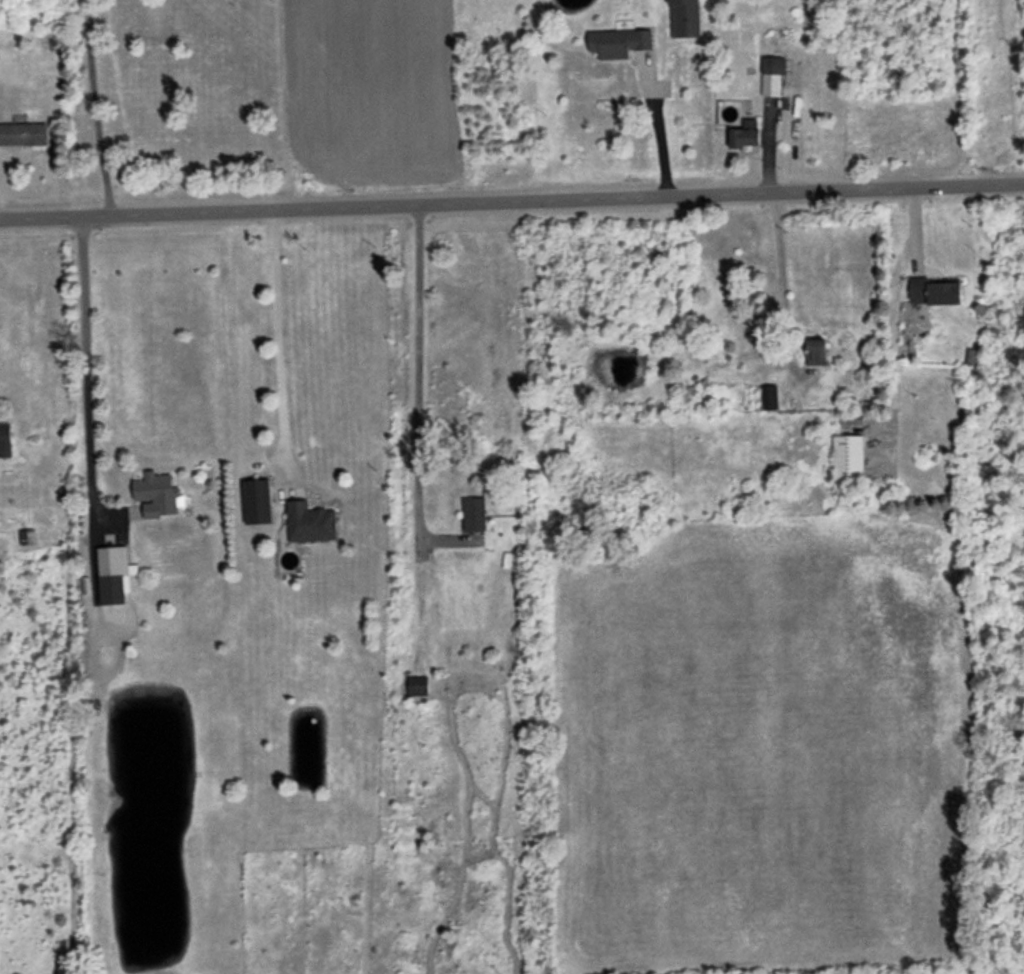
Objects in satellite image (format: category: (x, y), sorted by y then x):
building: (684, 18)
building: (618, 42)
building: (772, 74)
road: (93, 107)
road: (654, 130)
building: (23, 133)
building: (745, 134)
road: (511, 199)
road: (779, 279)
building: (935, 290)
road: (276, 335)
building: (816, 351)
road: (83, 357)
road: (416, 379)
building: (769, 396)
building: (5, 439)
building: (848, 457)
building: (157, 494)
building: (256, 501)
building: (473, 513)
building: (310, 522)
building: (113, 574)
building: (417, 685)

